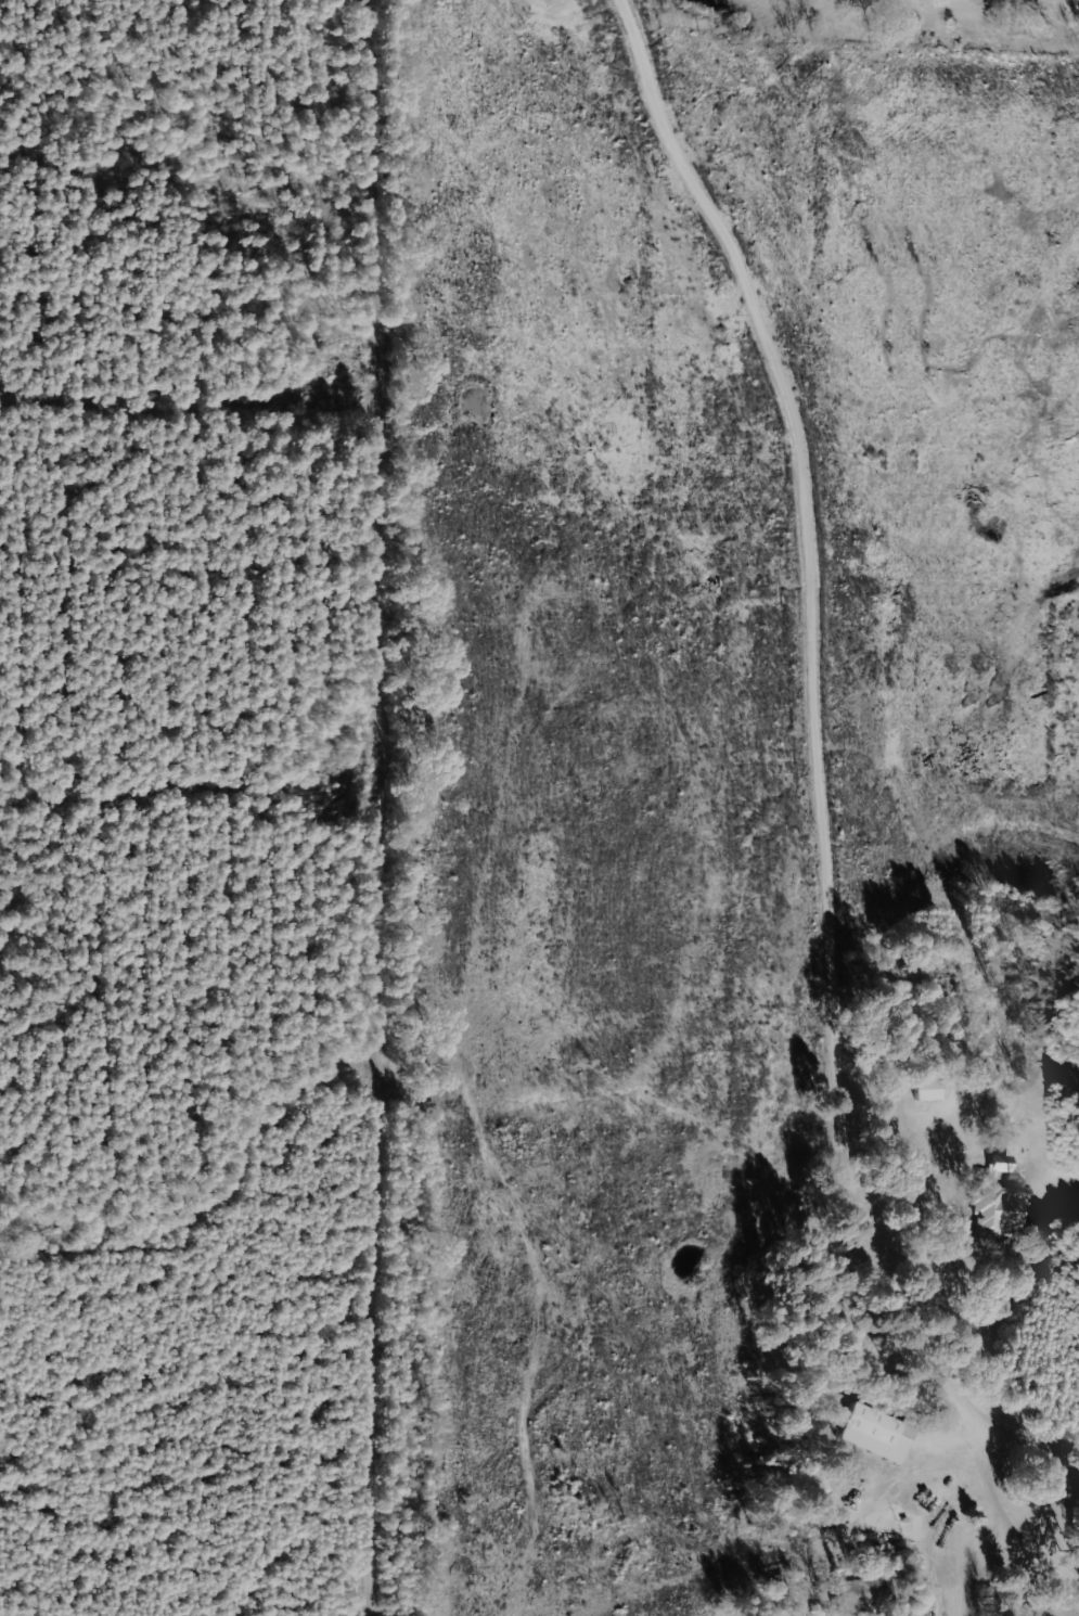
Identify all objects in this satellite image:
road: (942, 436)
road: (832, 761)
building: (926, 1090)
road: (917, 1179)
building: (994, 1203)
road: (923, 1252)
building: (872, 1425)
road: (1001, 1514)

